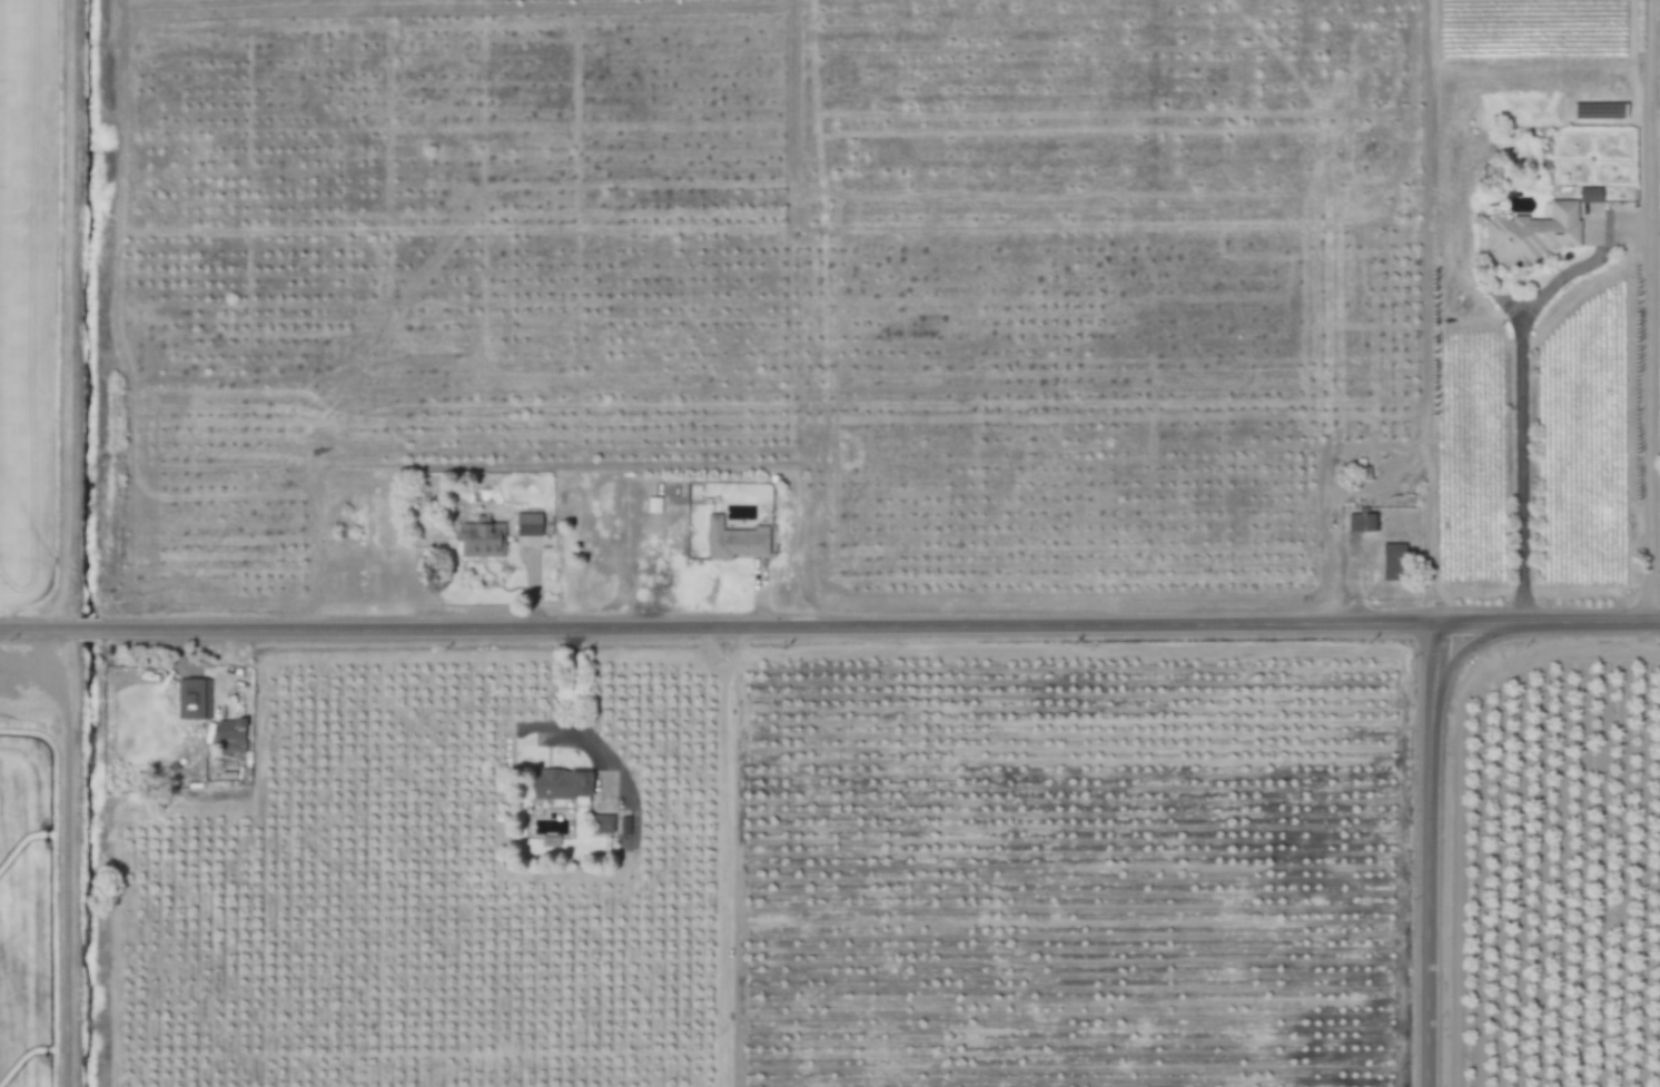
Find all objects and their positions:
road: (1654, 123)
building: (1535, 235)
road: (1648, 310)
road: (1522, 389)
building: (1363, 522)
building: (528, 524)
building: (483, 541)
building: (734, 541)
building: (1394, 562)
road: (1547, 622)
road: (717, 628)
building: (194, 700)
road: (572, 718)
building: (231, 739)
building: (561, 785)
building: (603, 826)
road: (1426, 854)
road: (722, 857)

